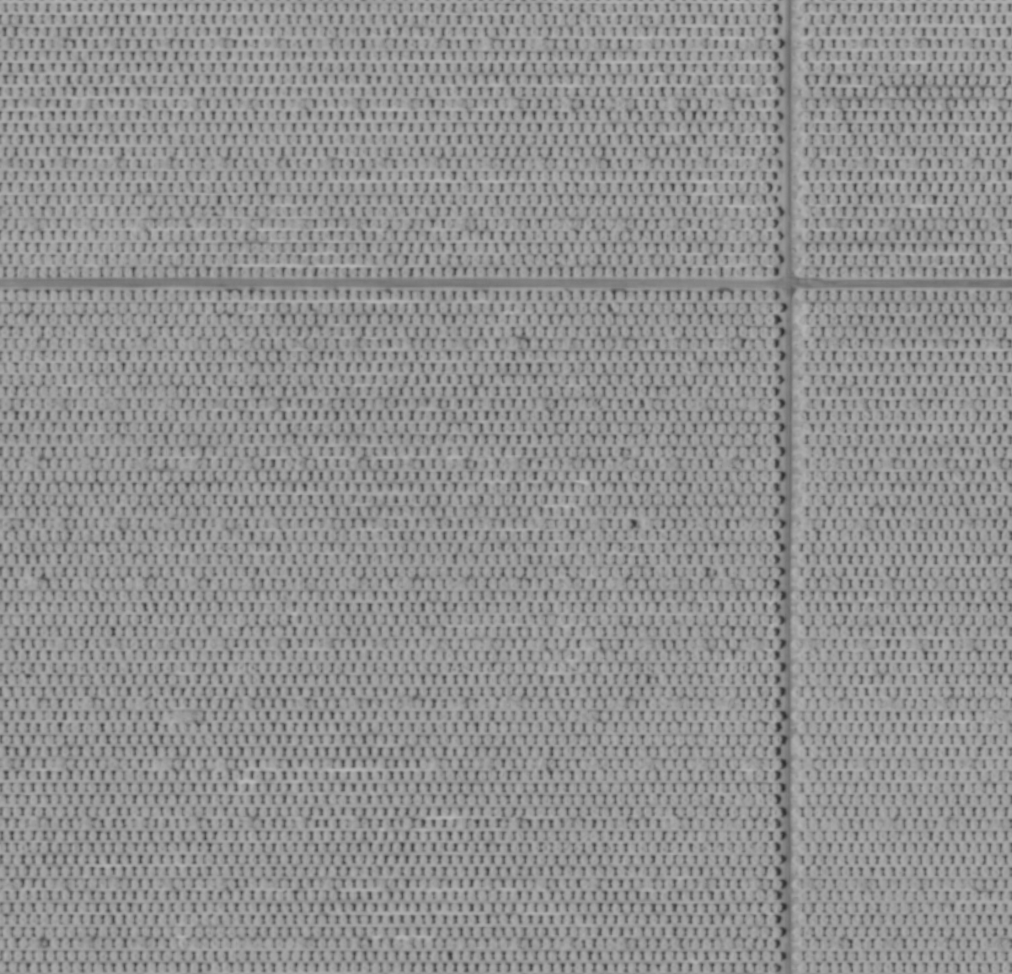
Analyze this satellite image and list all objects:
road: (506, 287)
road: (779, 486)
crop: (506, 487)

